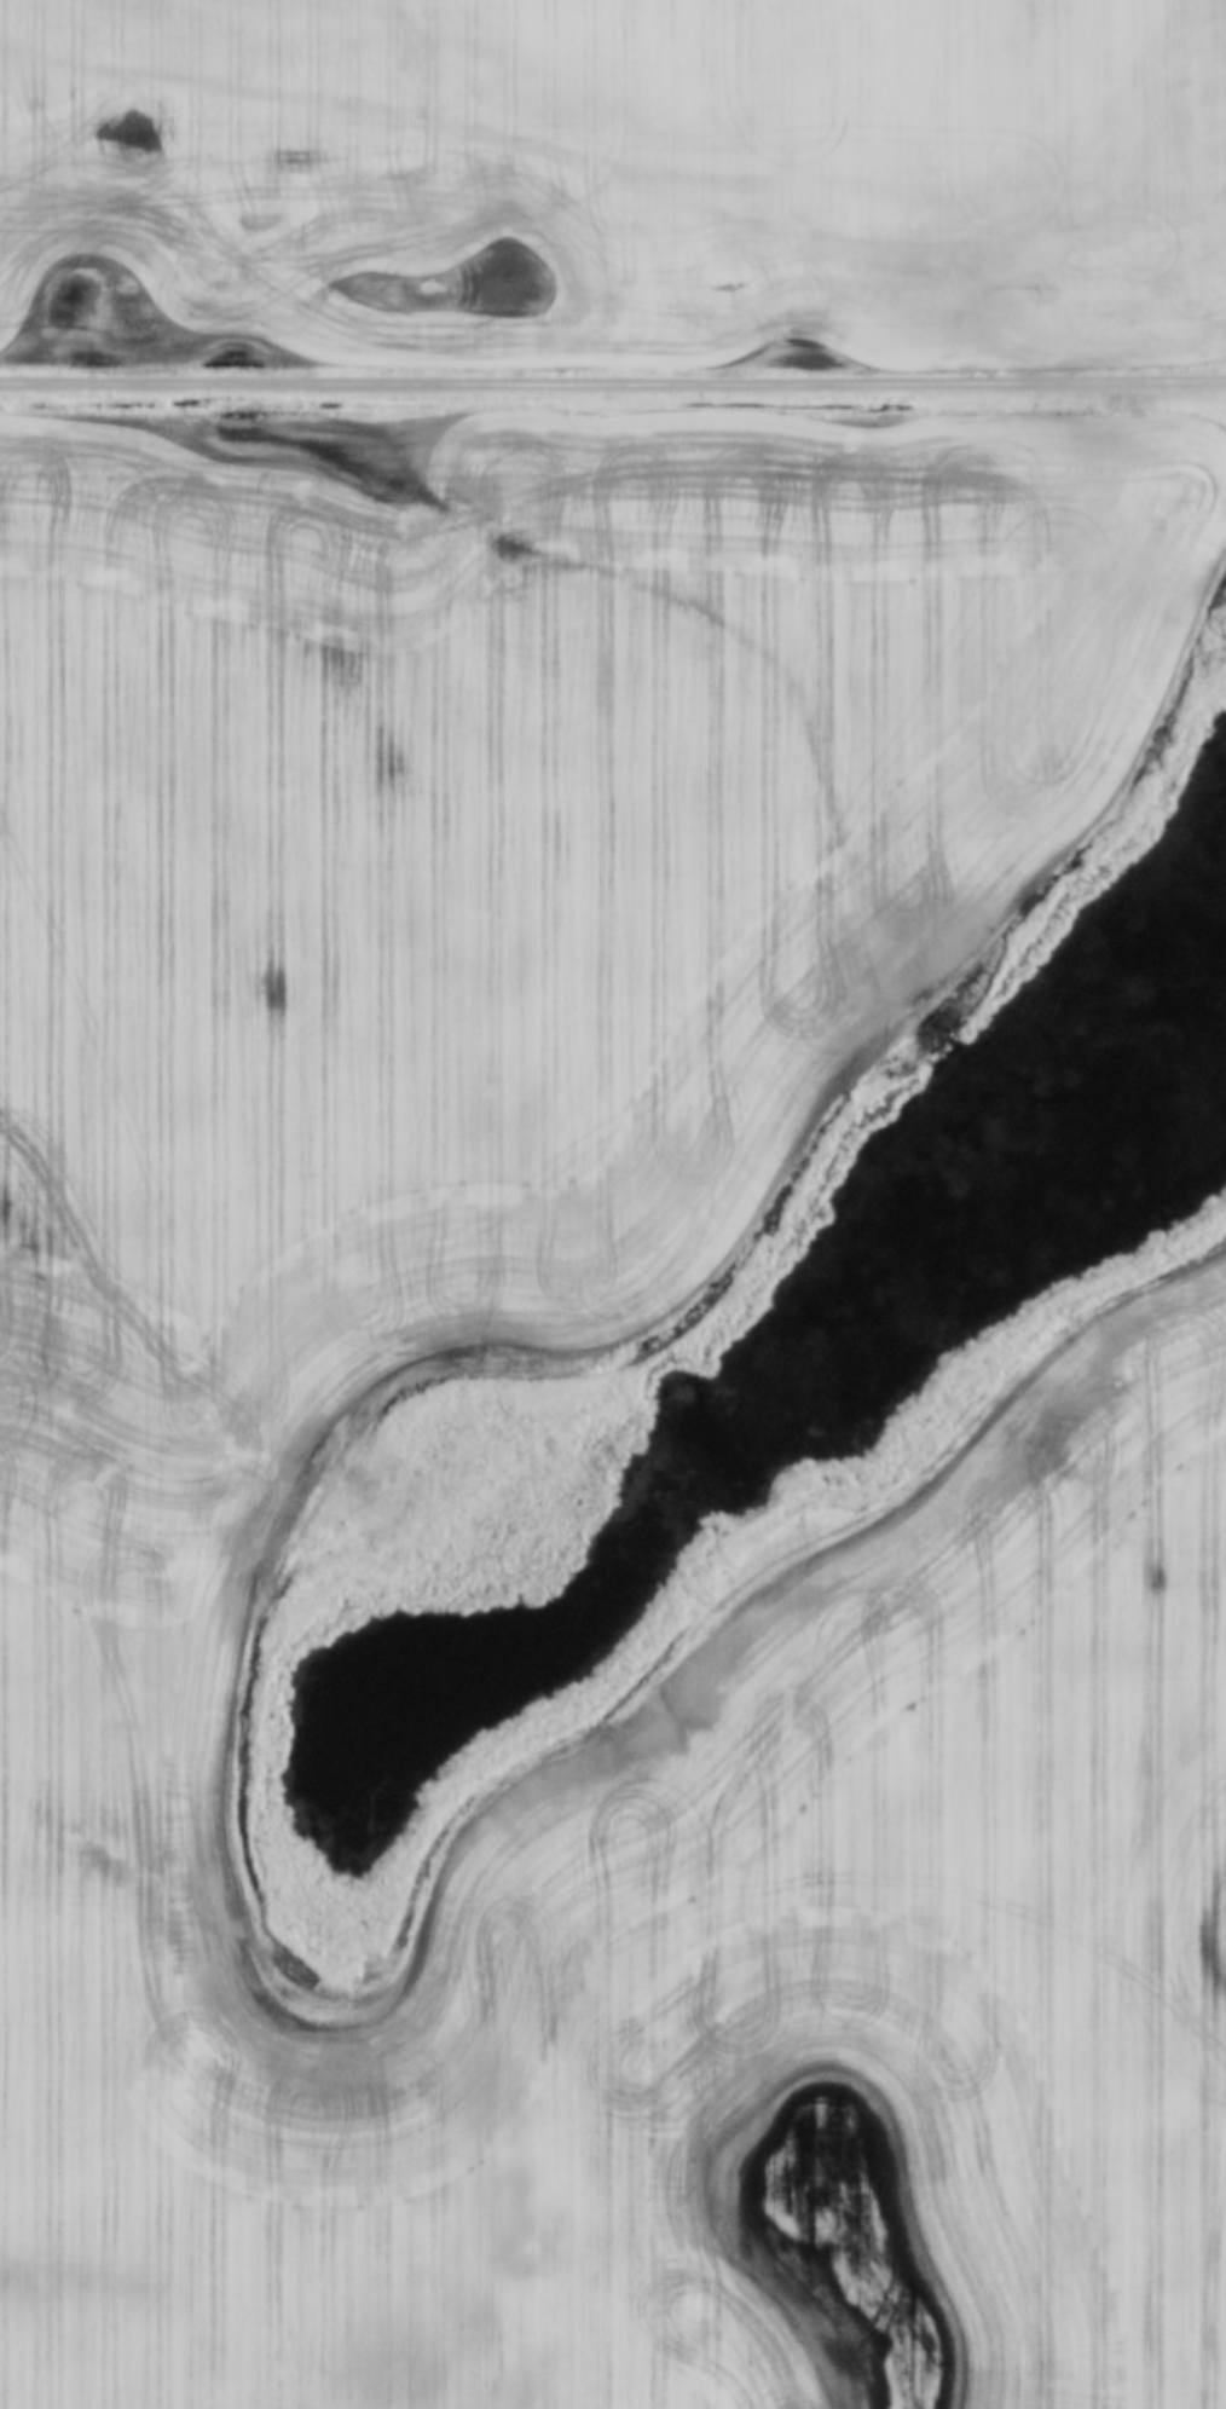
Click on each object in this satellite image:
road: (1214, 362)
road: (613, 381)

